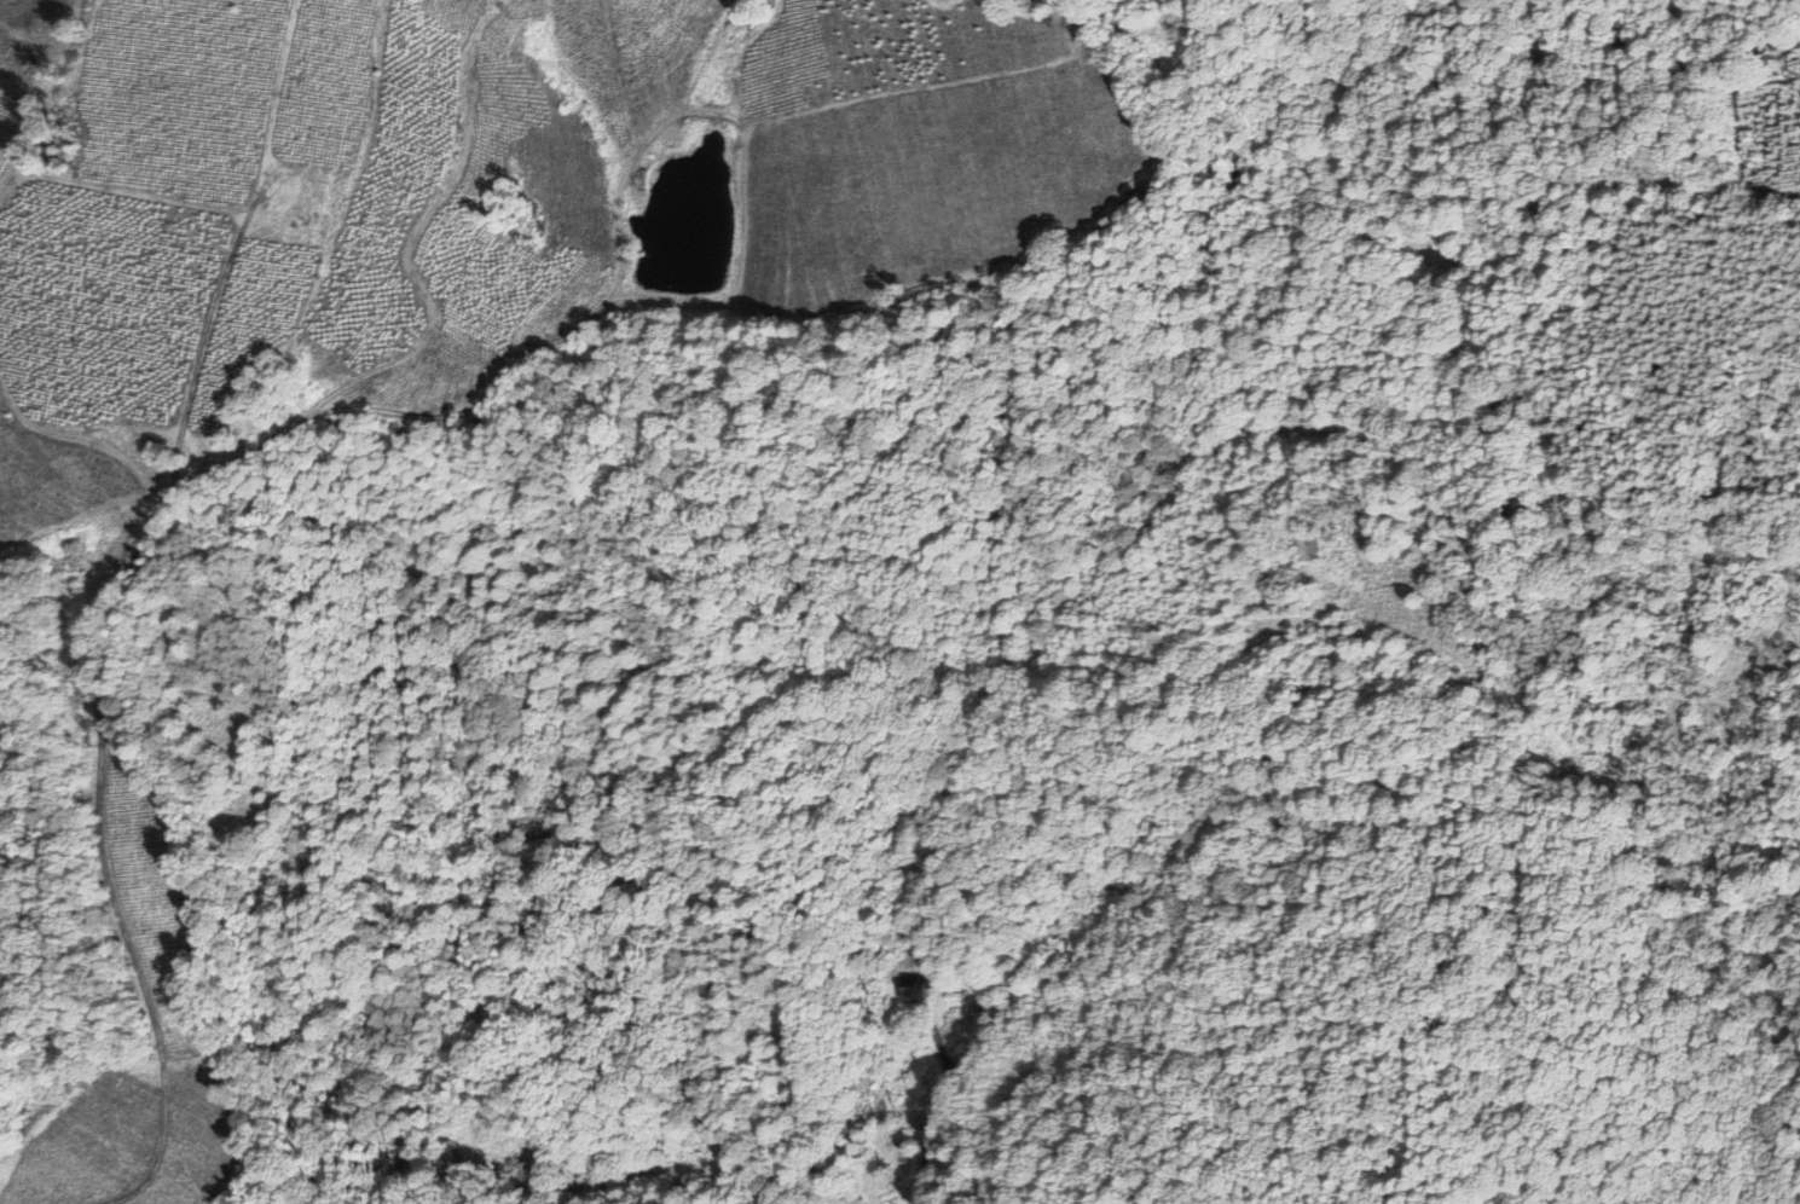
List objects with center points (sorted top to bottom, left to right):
road: (1102, 17)
building: (1300, 545)
road: (86, 607)
building: (907, 994)
road: (910, 1127)

